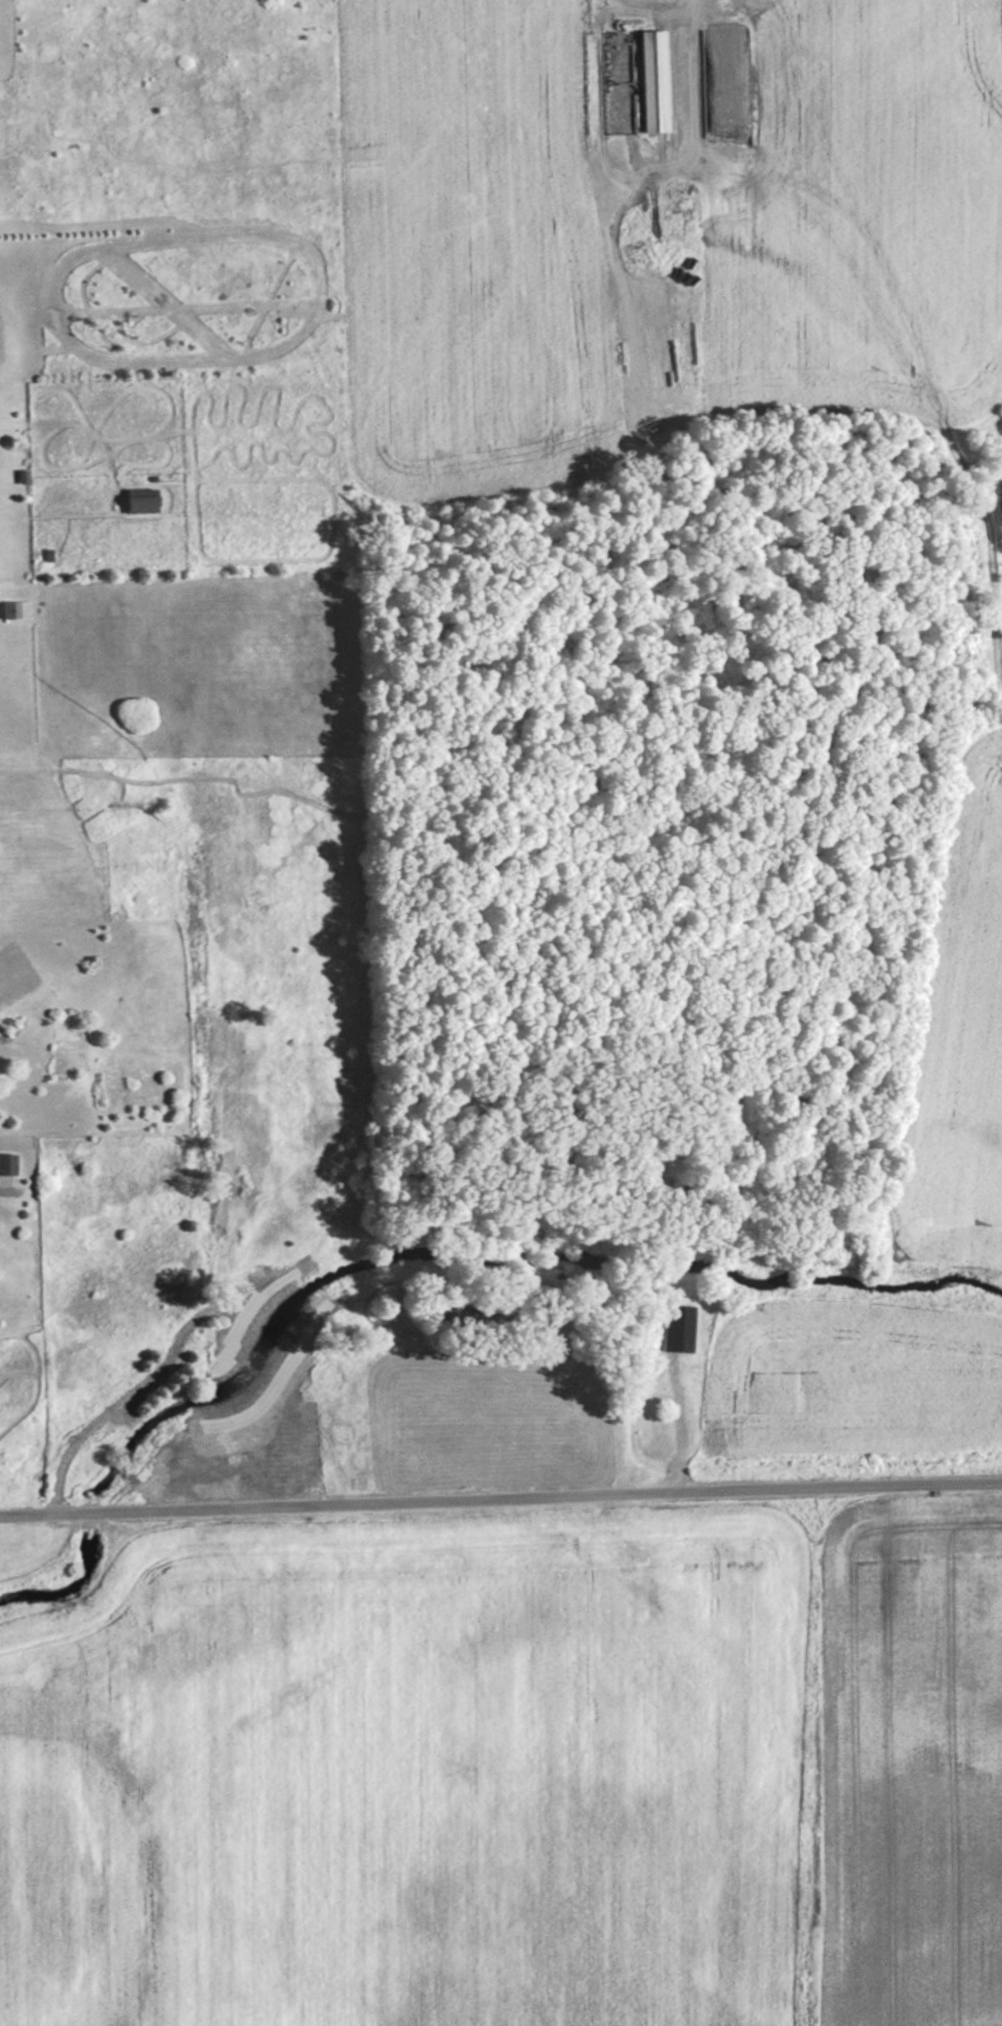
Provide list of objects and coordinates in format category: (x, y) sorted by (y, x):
building: (653, 81)
building: (141, 501)
building: (11, 609)
building: (7, 1165)
building: (541, 1288)
building: (678, 1328)
road: (500, 1491)

